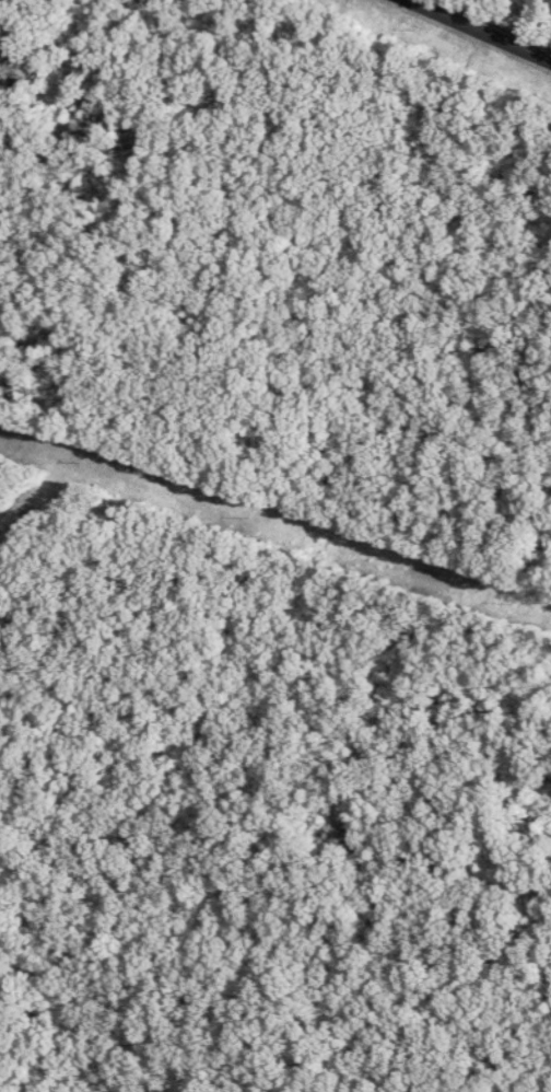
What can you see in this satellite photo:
road: (480, 31)

